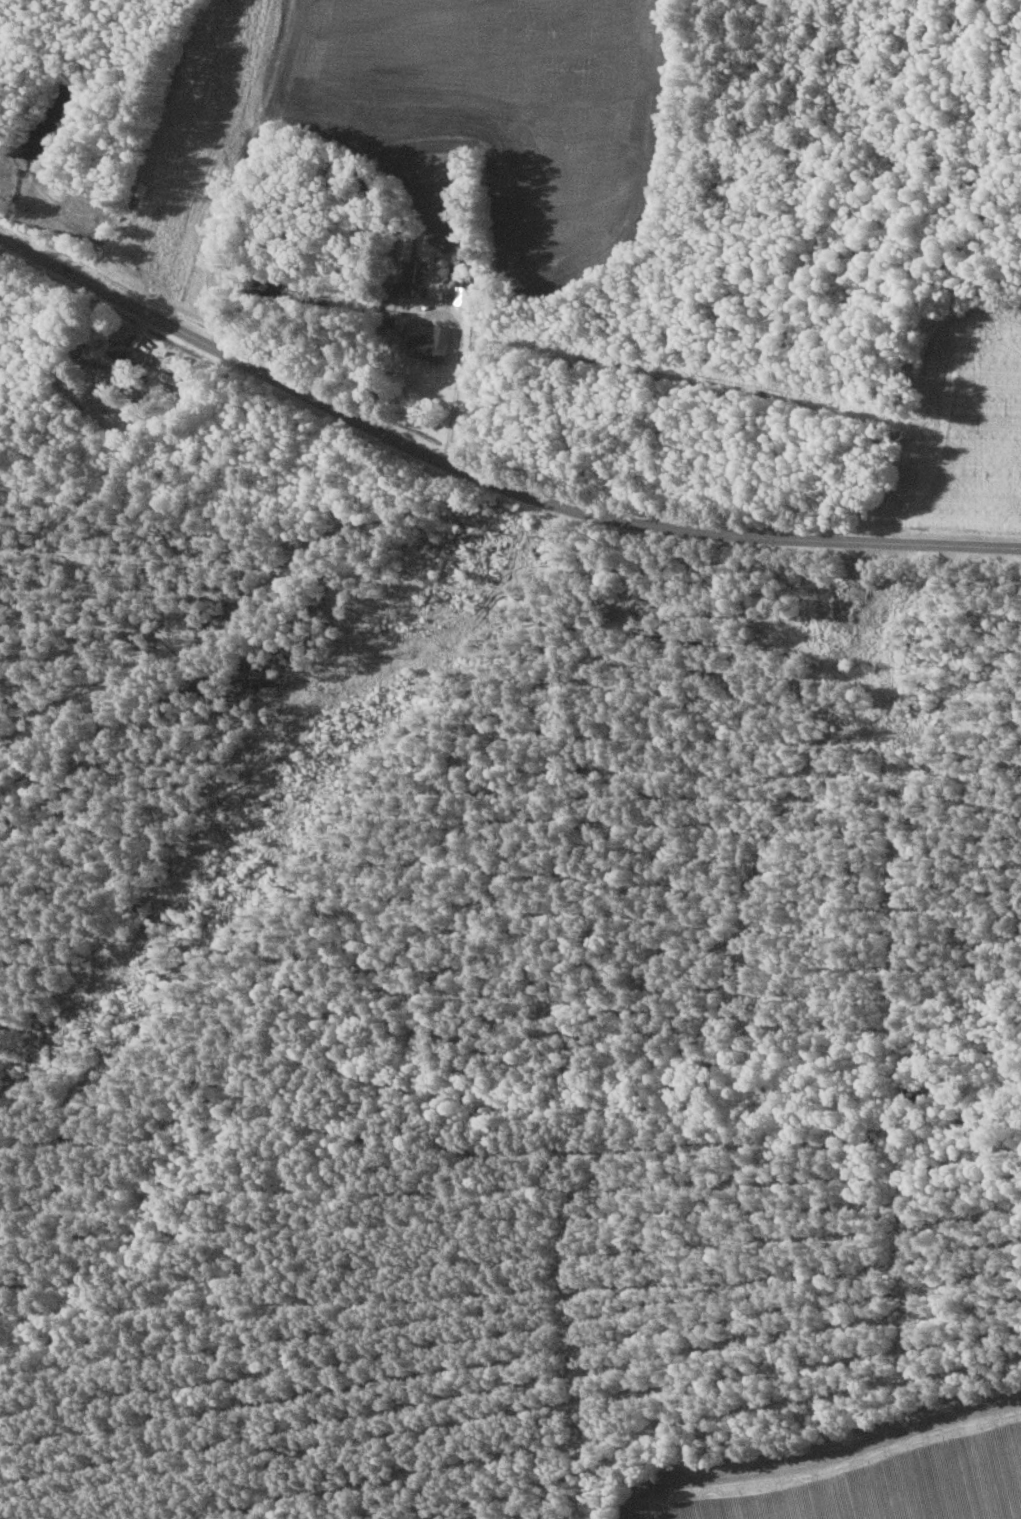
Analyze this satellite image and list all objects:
crop: (487, 107)
building: (408, 242)
building: (405, 274)
building: (465, 295)
road: (135, 327)
building: (435, 343)
building: (130, 354)
road: (459, 372)
building: (173, 378)
crop: (964, 426)
road: (485, 480)
crop: (862, 1473)

